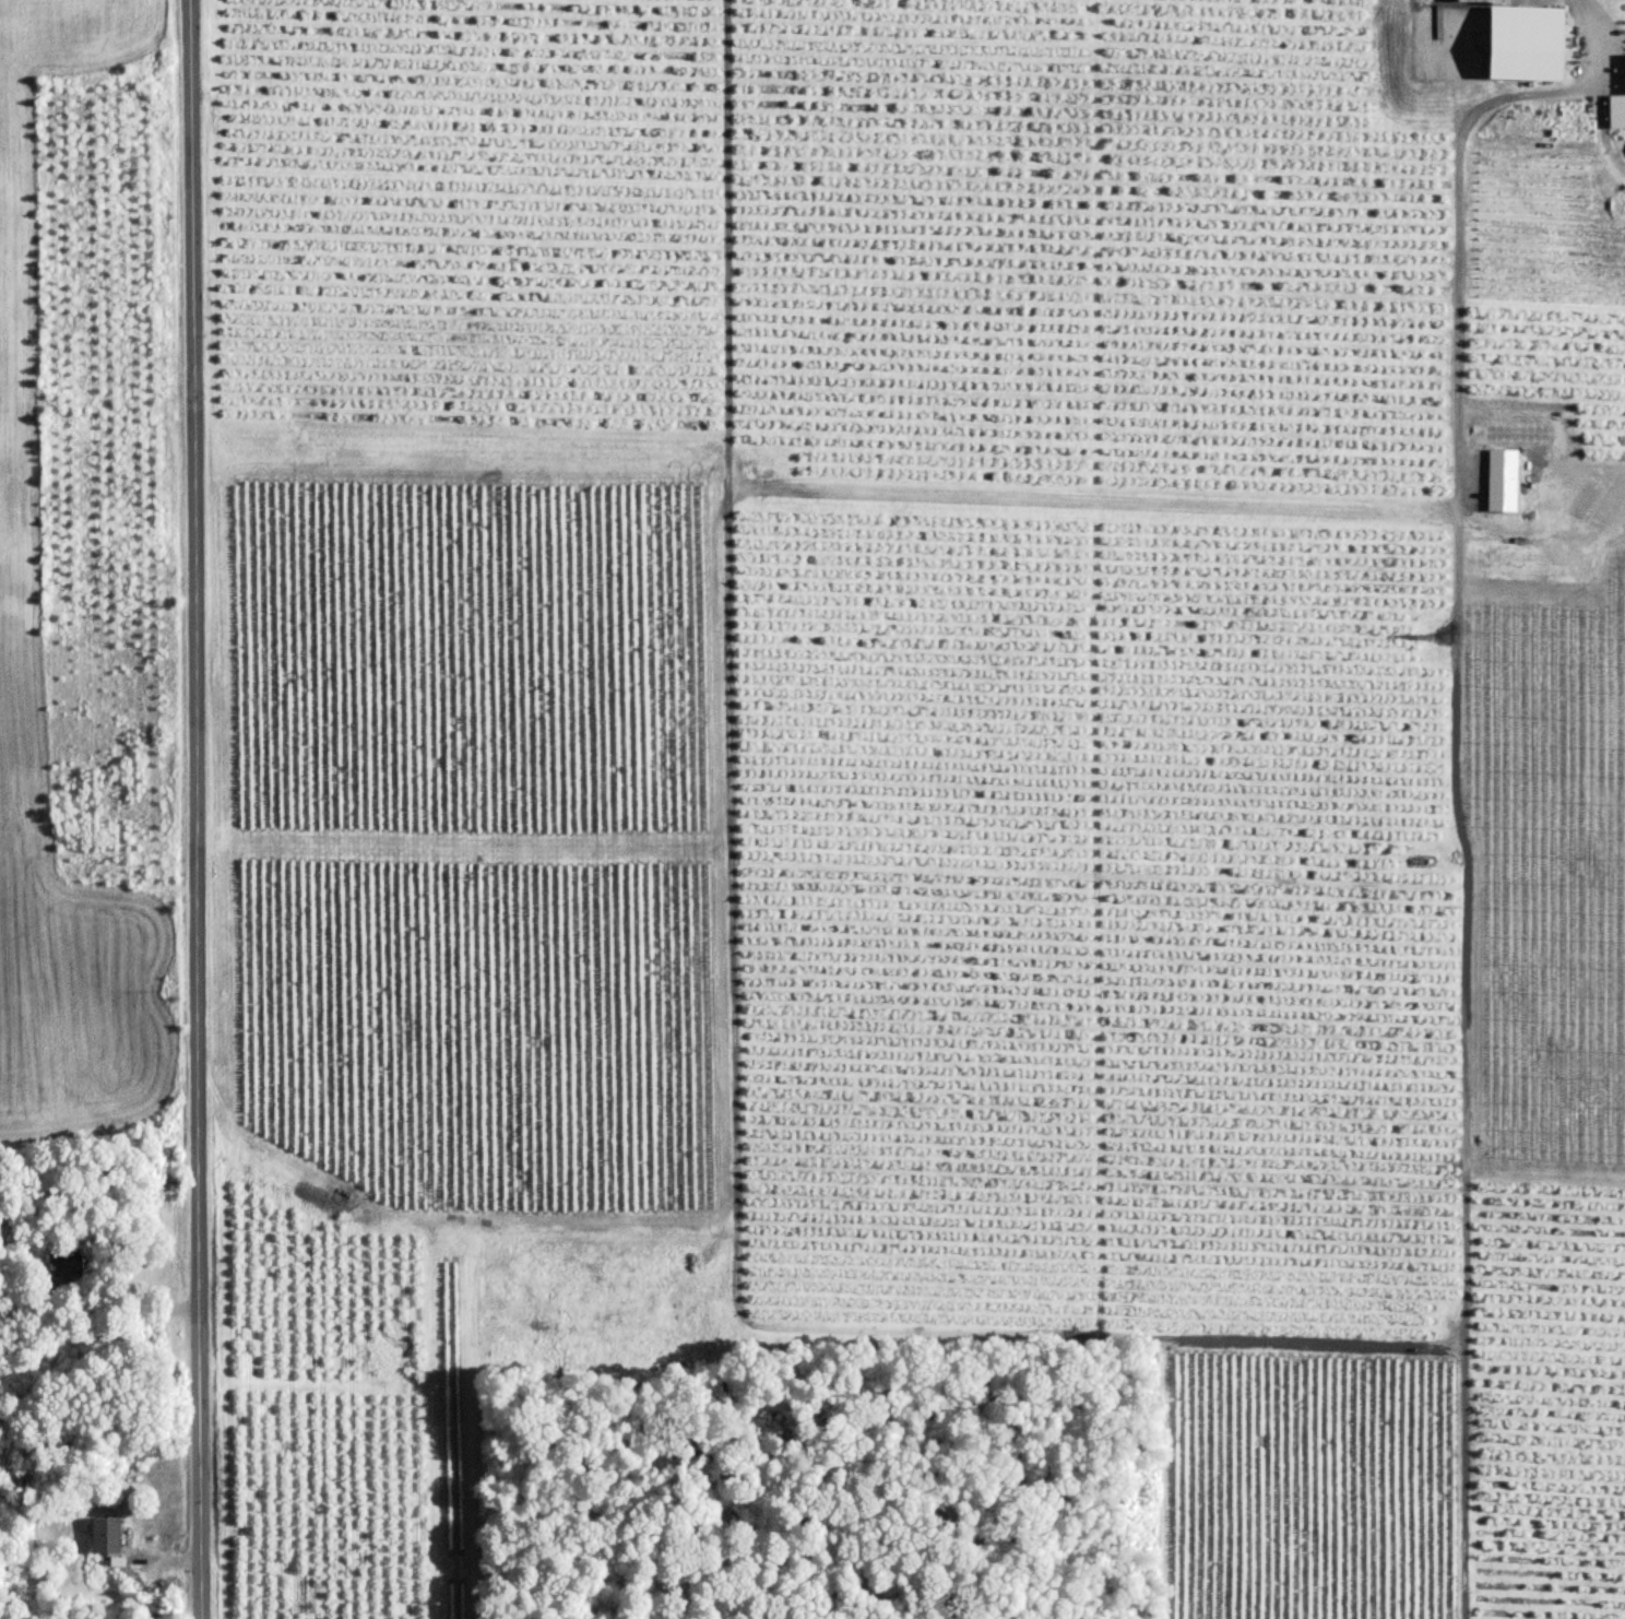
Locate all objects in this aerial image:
building: (1528, 43)
building: (1617, 111)
road: (1457, 202)
road: (197, 808)
building: (67, 1266)
building: (107, 1537)

